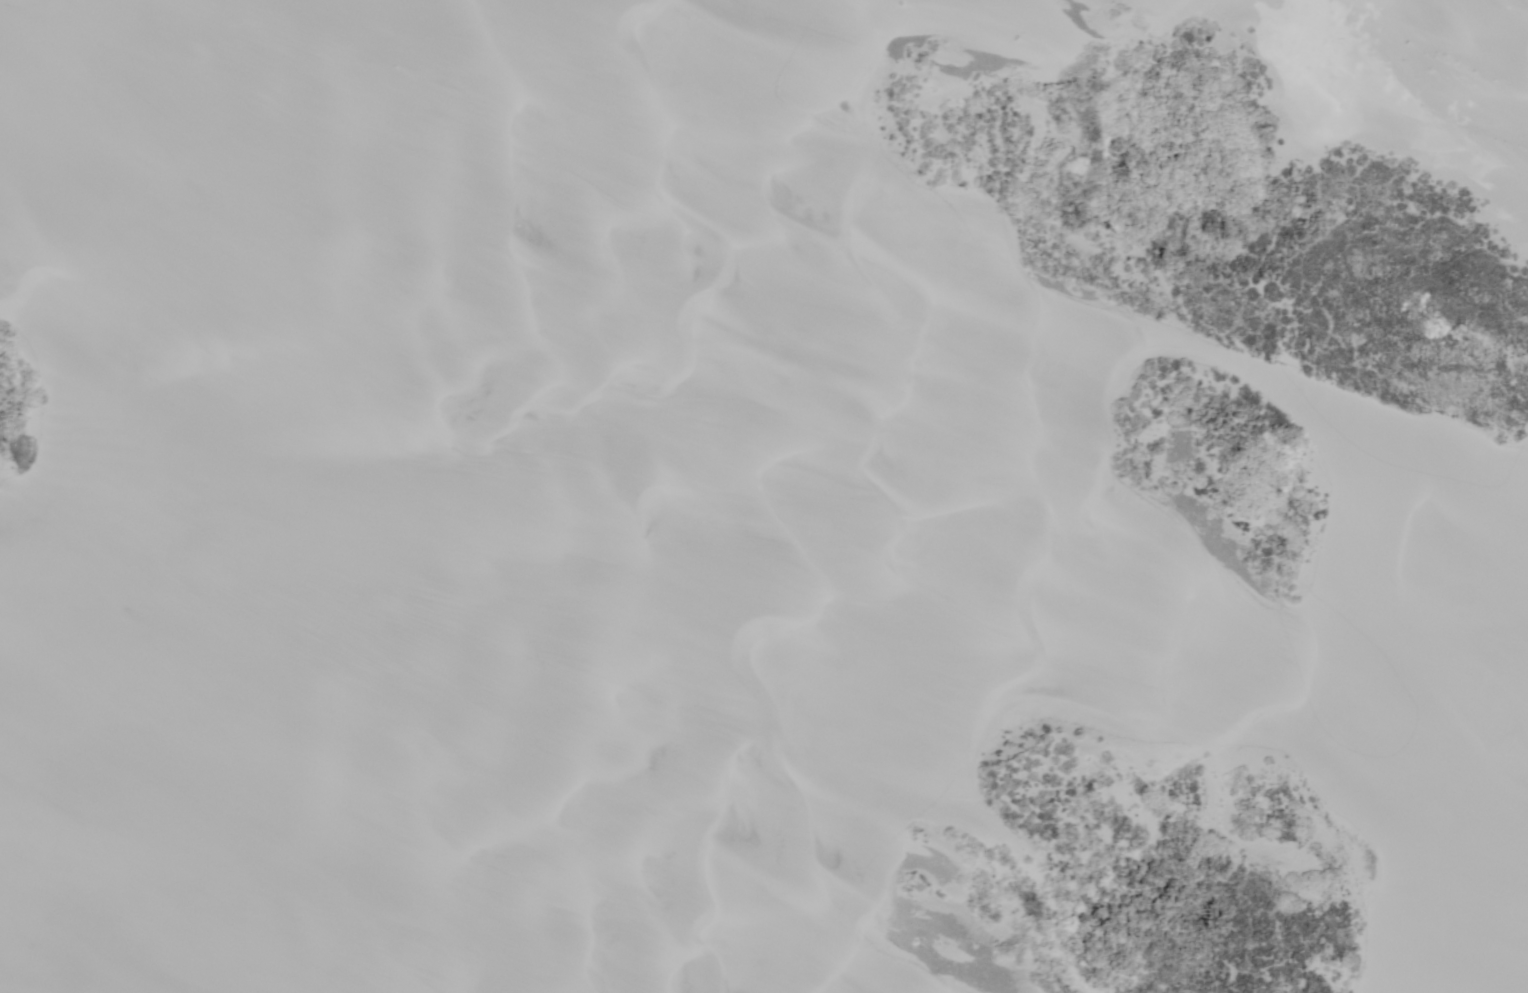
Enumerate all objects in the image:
road: (190, 202)
road: (446, 495)
park: (768, 503)

